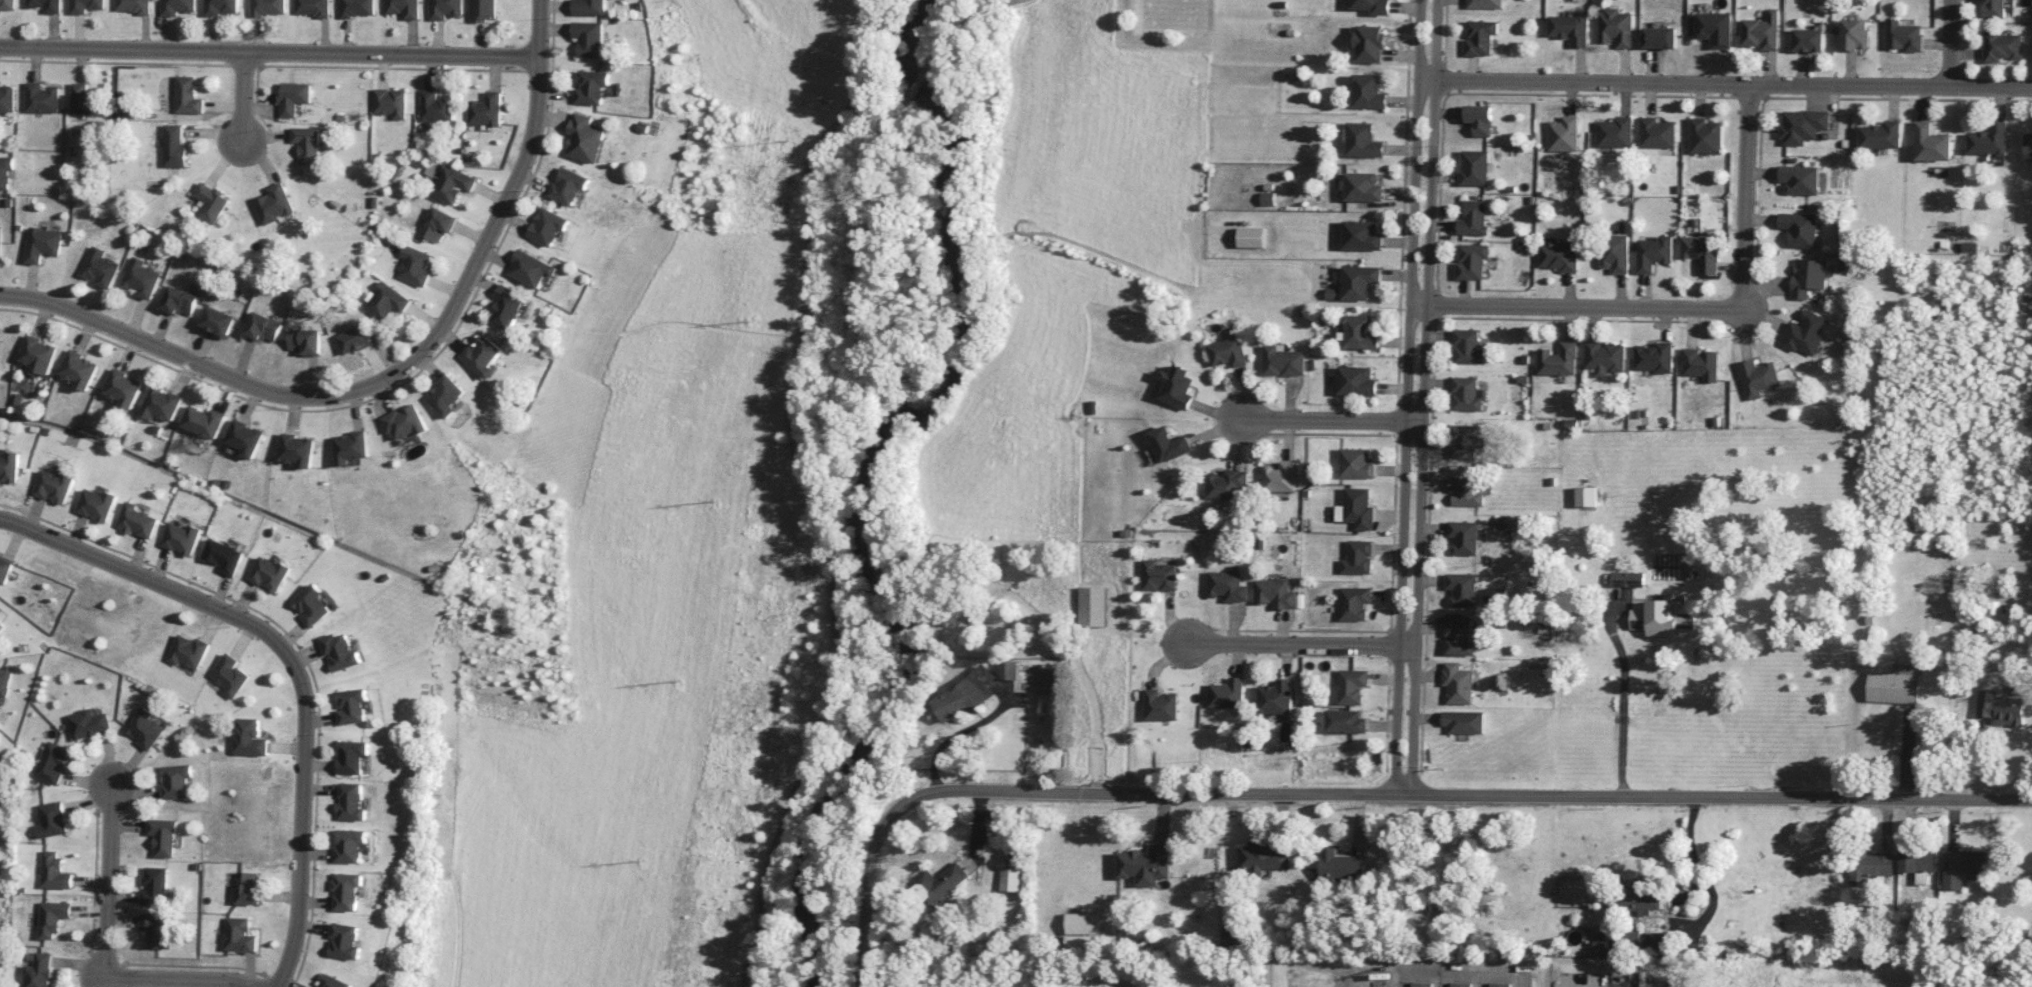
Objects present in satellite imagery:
building: (7, 4)
building: (1484, 4)
building: (45, 5)
building: (85, 5)
building: (132, 6)
building: (177, 6)
building: (1373, 6)
building: (221, 7)
building: (267, 7)
building: (311, 7)
building: (589, 7)
building: (357, 8)
building: (402, 8)
building: (1994, 8)
building: (445, 9)
building: (483, 9)
road: (974, 18)
building: (1569, 28)
building: (1615, 28)
building: (1715, 28)
building: (1762, 31)
building: (1855, 34)
building: (1903, 36)
building: (1479, 37)
building: (1660, 37)
building: (588, 38)
building: (1807, 40)
building: (1369, 43)
road: (1948, 43)
building: (2001, 46)
road: (268, 53)
road: (852, 53)
road: (922, 78)
road: (1682, 83)
road: (1990, 86)
building: (591, 87)
building: (1368, 91)
building: (186, 95)
building: (292, 97)
building: (41, 98)
road: (241, 98)
building: (7, 99)
building: (85, 99)
building: (389, 102)
building: (123, 105)
building: (436, 106)
building: (485, 110)
road: (878, 117)
building: (1478, 119)
building: (1802, 126)
building: (1615, 132)
building: (1656, 133)
building: (1562, 134)
building: (1881, 135)
building: (1706, 136)
building: (585, 138)
building: (1363, 140)
building: (1988, 140)
building: (1931, 143)
building: (306, 144)
building: (2028, 146)
building: (173, 147)
building: (1474, 167)
building: (5, 171)
building: (1799, 179)
building: (452, 184)
building: (568, 186)
building: (1363, 187)
road: (1744, 197)
building: (1267, 199)
building: (209, 202)
building: (273, 204)
building: (1474, 218)
building: (437, 224)
building: (548, 226)
building: (1799, 229)
road: (488, 230)
building: (1362, 235)
building: (1251, 237)
building: (0, 240)
building: (41, 244)
building: (1702, 252)
building: (1615, 253)
building: (1653, 253)
building: (1558, 255)
building: (1471, 260)
building: (414, 265)
building: (97, 267)
building: (530, 268)
building: (1808, 277)
building: (139, 278)
building: (1355, 283)
building: (176, 301)
building: (386, 301)
road: (1574, 306)
building: (506, 307)
building: (216, 321)
building: (261, 327)
building: (1360, 332)
building: (1804, 333)
building: (353, 339)
building: (305, 341)
building: (1467, 347)
road: (166, 352)
building: (1228, 352)
building: (38, 355)
building: (481, 356)
building: (1604, 357)
building: (1653, 357)
building: (1558, 360)
building: (1283, 361)
building: (1699, 364)
building: (79, 369)
building: (1757, 377)
building: (1356, 381)
building: (1178, 387)
building: (123, 388)
building: (1467, 394)
building: (444, 396)
road: (1405, 397)
road: (1423, 397)
building: (162, 404)
river: (940, 412)
road: (1328, 419)
building: (204, 421)
building: (404, 422)
building: (246, 438)
building: (1465, 440)
building: (1168, 444)
building: (350, 447)
building: (298, 450)
building: (1356, 463)
building: (10, 467)
building: (1279, 477)
building: (1226, 484)
building: (56, 486)
building: (1466, 491)
building: (1586, 496)
building: (98, 504)
building: (1357, 508)
building: (137, 520)
building: (1464, 537)
building: (181, 538)
road: (830, 542)
building: (223, 556)
building: (1358, 557)
building: (5, 568)
building: (269, 573)
building: (1159, 576)
building: (1627, 579)
road: (148, 580)
building: (1228, 585)
building: (1461, 589)
building: (1275, 593)
building: (1496, 595)
building: (1354, 603)
building: (313, 605)
building: (1094, 606)
building: (1663, 616)
building: (2, 626)
building: (1459, 635)
road: (1300, 645)
building: (340, 651)
building: (186, 652)
building: (1010, 670)
building: (227, 676)
building: (4, 681)
building: (1458, 683)
building: (1895, 685)
building: (1352, 686)
road: (1624, 691)
building: (1227, 693)
building: (968, 696)
building: (1276, 697)
building: (1161, 705)
building: (351, 706)
building: (2000, 707)
building: (1345, 721)
building: (1464, 722)
building: (86, 723)
building: (144, 728)
building: (249, 737)
building: (351, 756)
building: (50, 762)
building: (176, 781)
road: (1452, 795)
building: (350, 802)
building: (49, 819)
road: (299, 822)
building: (162, 836)
building: (349, 845)
building: (1263, 857)
building: (1918, 863)
building: (1145, 864)
building: (1341, 865)
building: (1963, 867)
building: (1871, 868)
building: (52, 871)
river: (807, 872)
road: (105, 876)
building: (1010, 879)
building: (940, 884)
building: (153, 886)
building: (248, 888)
building: (346, 891)
building: (1639, 898)
road: (866, 904)
building: (50, 918)
building: (1081, 923)
building: (156, 929)
building: (238, 935)
building: (1235, 937)
building: (1601, 939)
building: (345, 941)
building: (1079, 941)
building: (36, 971)
road: (1462, 973)
road: (179, 979)
road: (1404, 980)
road: (1440, 980)
road: (1480, 980)
building: (333, 981)
road: (1519, 981)
building: (1421, 984)
building: (1459, 984)
building: (1498, 985)

